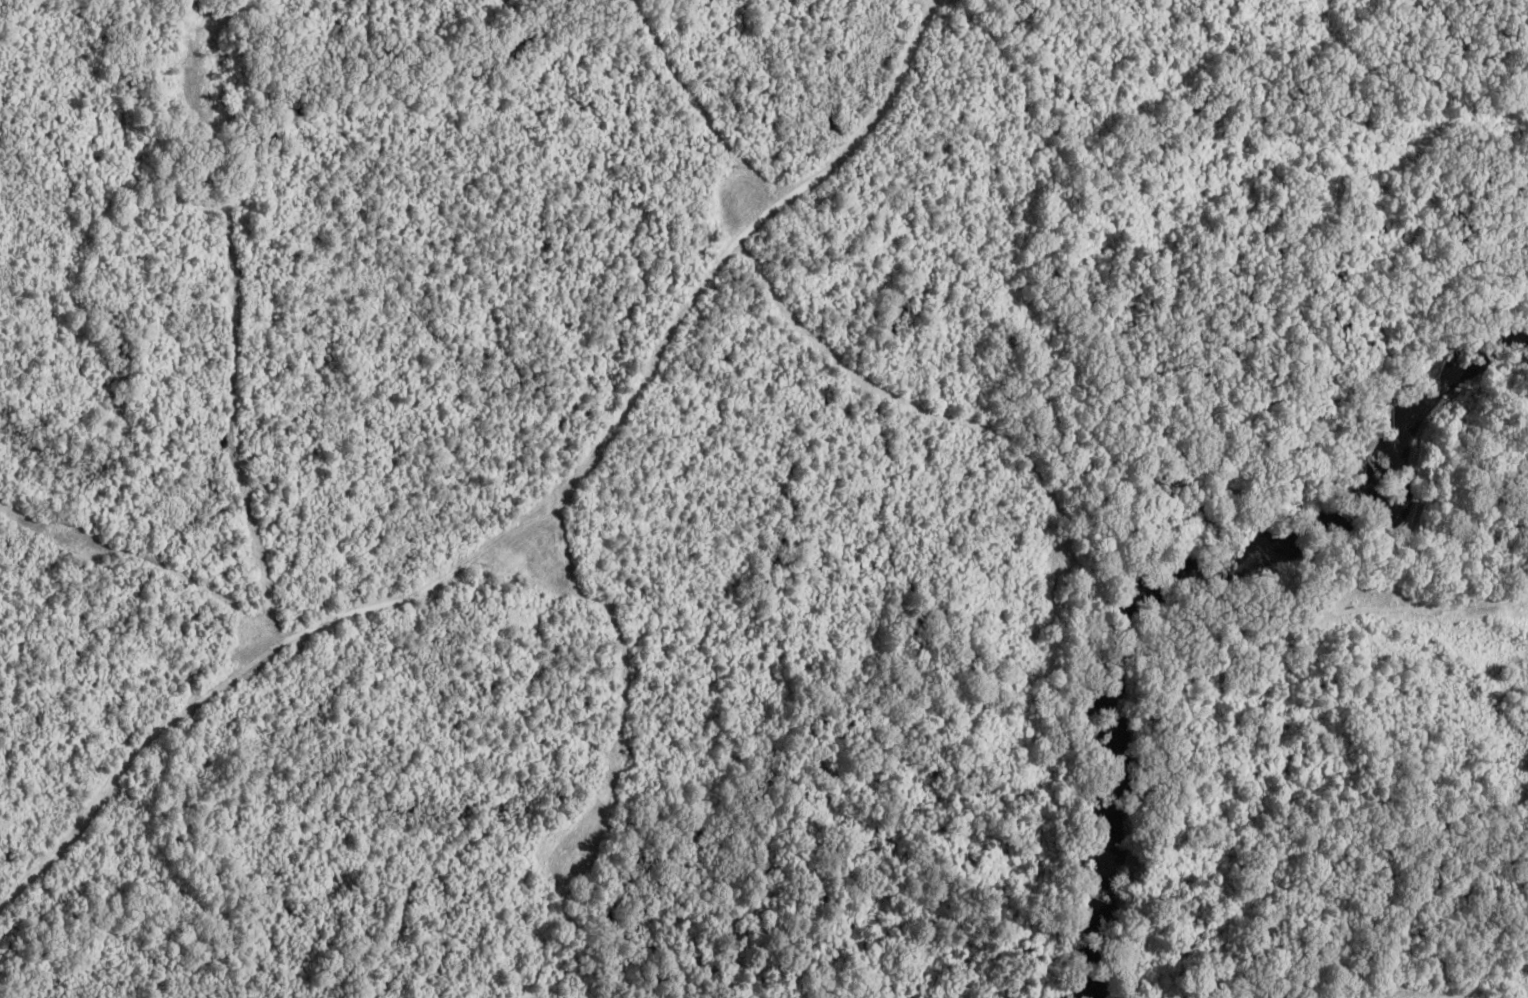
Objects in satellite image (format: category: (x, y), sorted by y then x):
river: (1193, 593)

